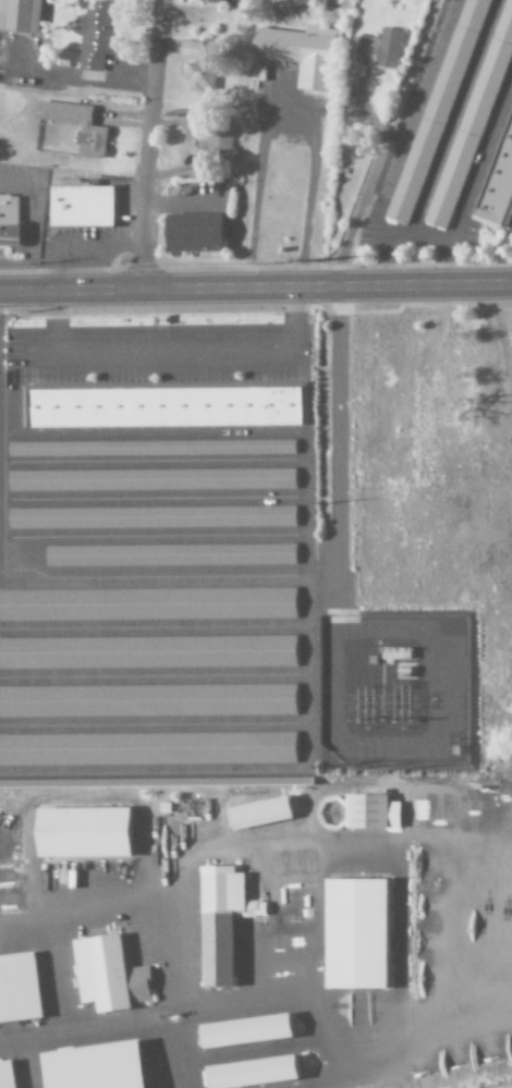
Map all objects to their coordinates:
building: (295, 3)
building: (20, 16)
building: (95, 36)
building: (379, 50)
building: (298, 54)
building: (199, 65)
building: (89, 136)
road: (145, 144)
building: (215, 144)
road: (383, 144)
building: (498, 184)
building: (80, 208)
building: (10, 220)
building: (191, 233)
road: (256, 288)
building: (167, 406)
building: (155, 448)
building: (156, 479)
building: (156, 517)
building: (174, 554)
building: (150, 603)
building: (149, 652)
building: (149, 700)
building: (149, 748)
building: (375, 811)
building: (267, 812)
building: (92, 832)
building: (229, 922)
building: (364, 933)
building: (112, 975)
building: (22, 991)
building: (254, 1030)
building: (105, 1066)
building: (260, 1073)
building: (10, 1075)

